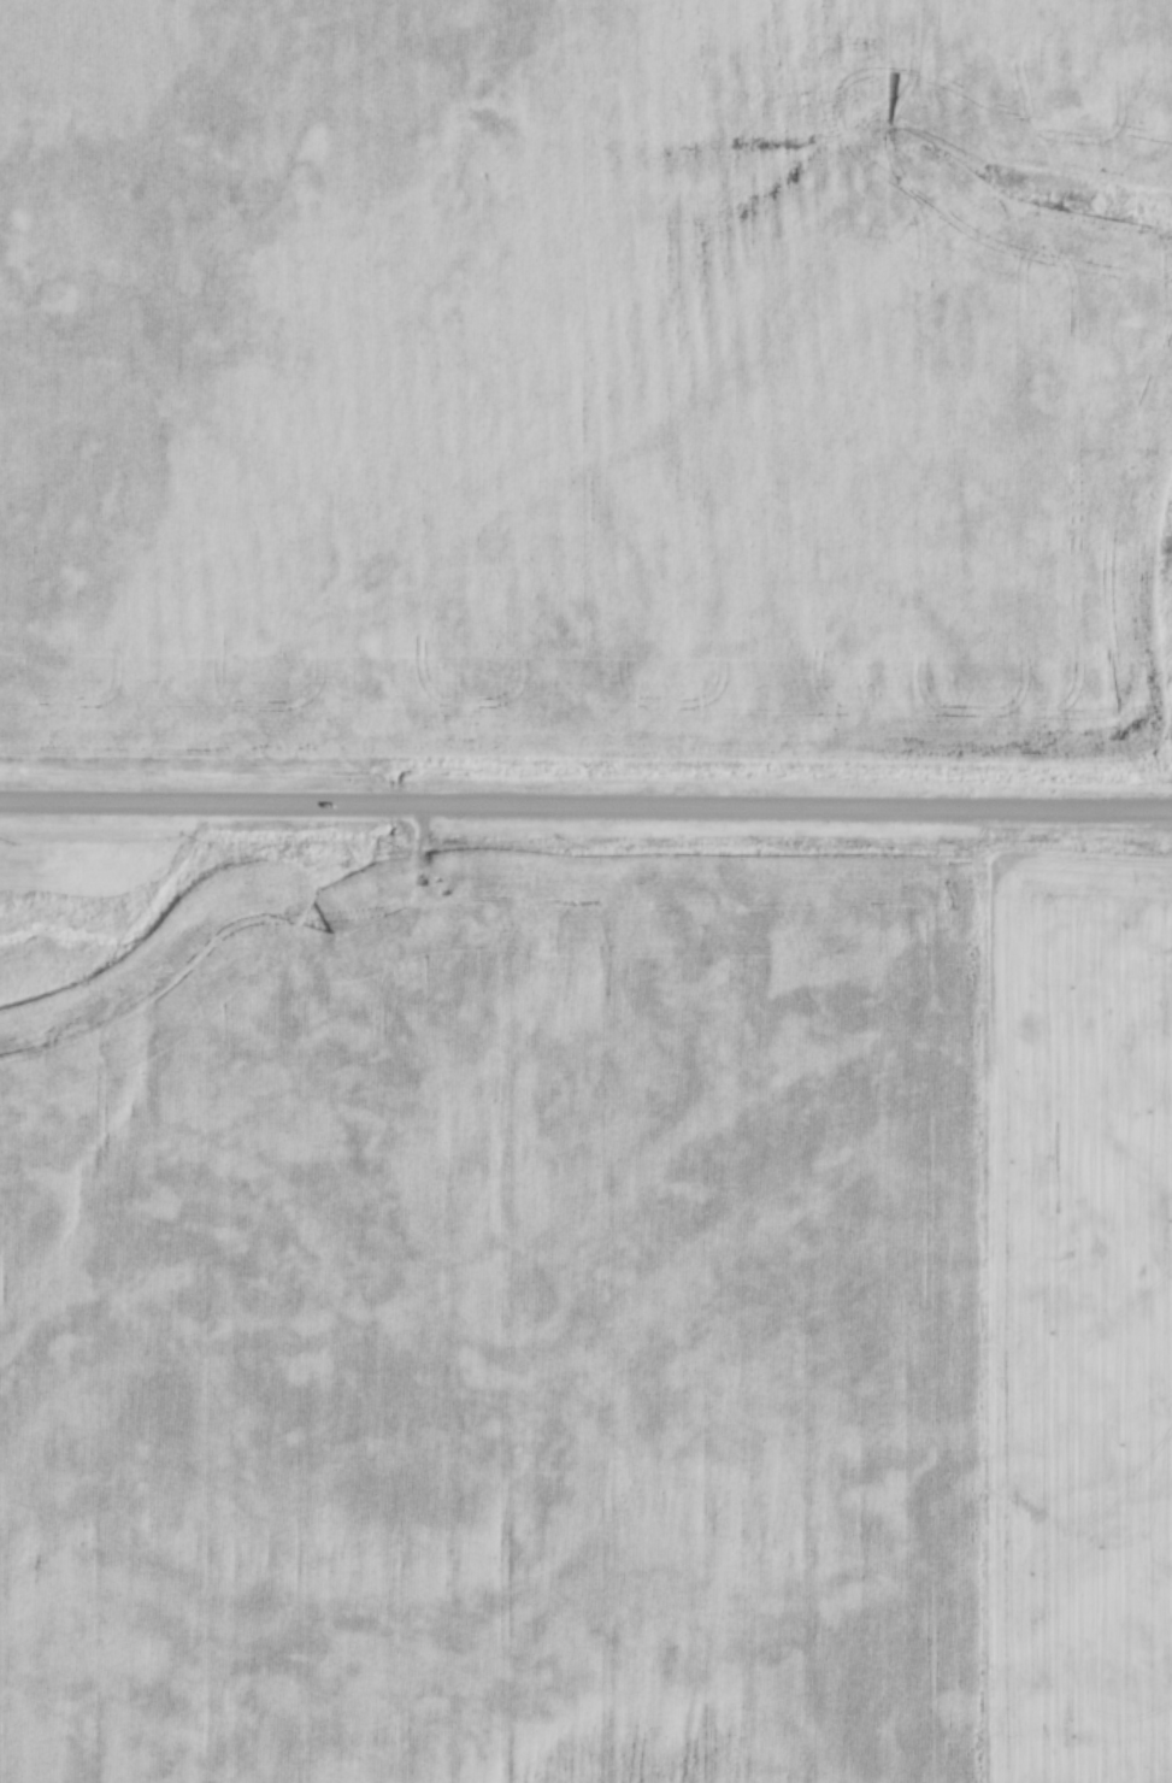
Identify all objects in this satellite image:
crop: (582, 381)
road: (585, 808)

